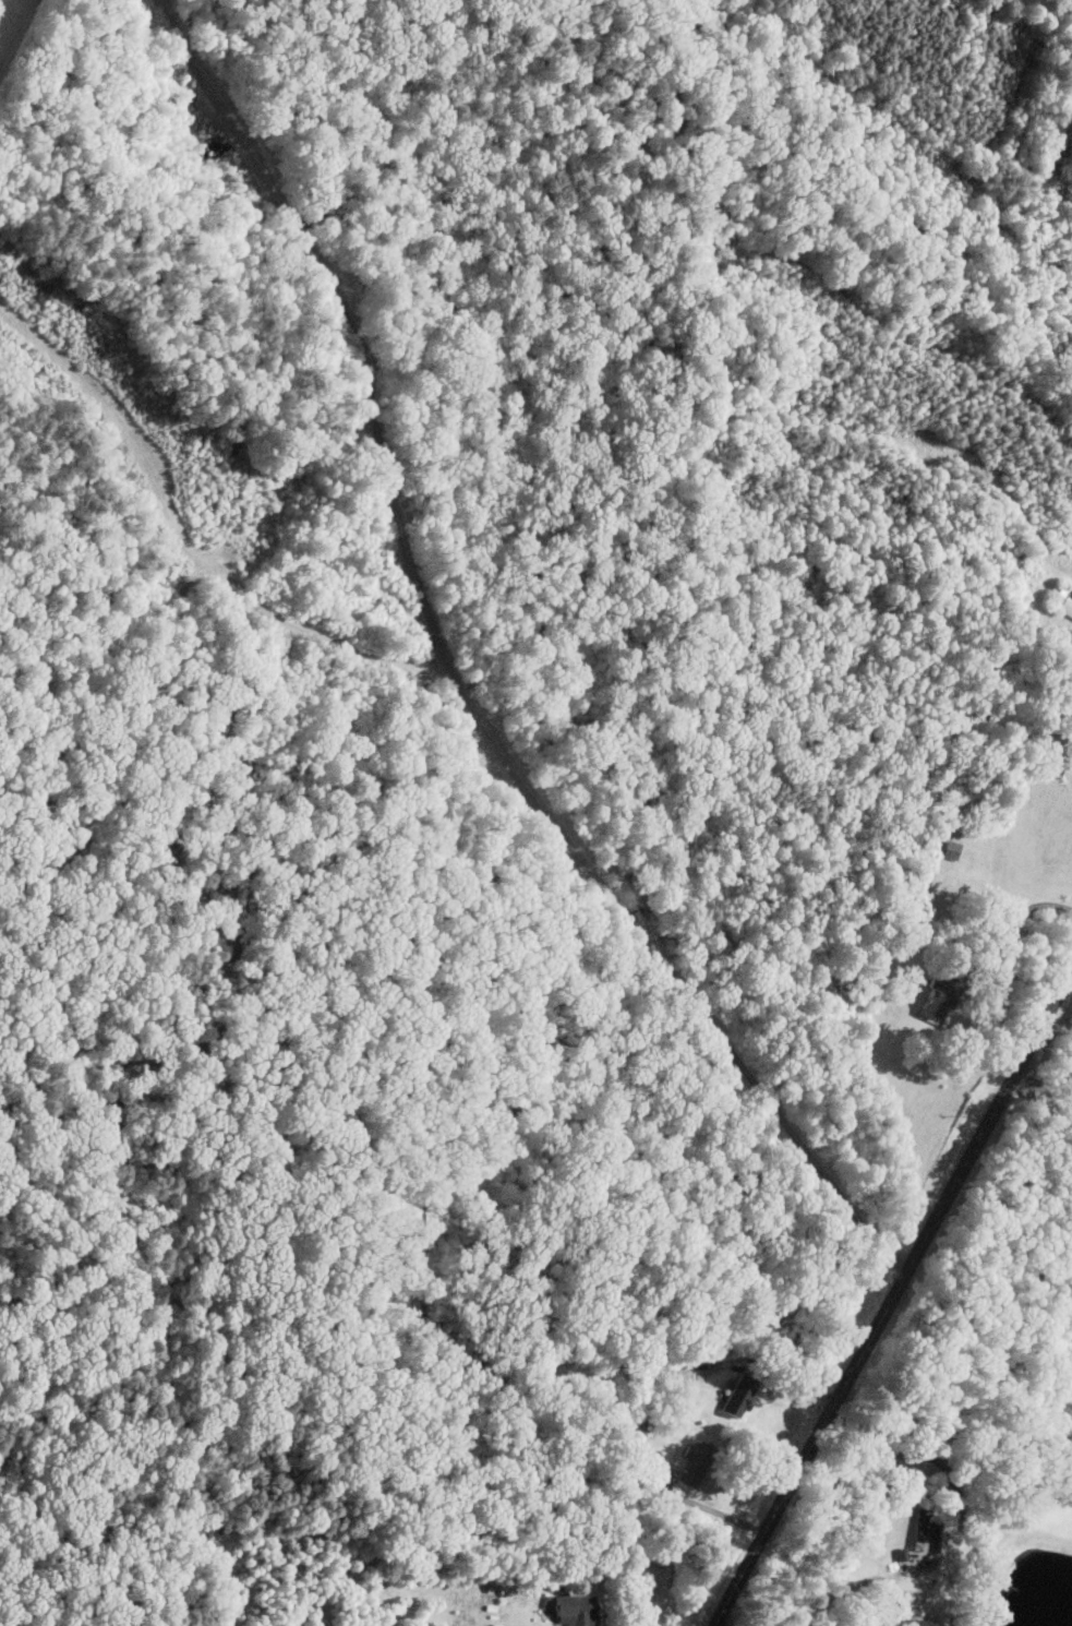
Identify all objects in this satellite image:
road: (1014, 922)
road: (1043, 1087)
road: (893, 1298)
building: (742, 1394)
building: (699, 1462)
road: (886, 1504)
road: (711, 1508)
building: (924, 1529)
dam: (1052, 1562)
building: (577, 1610)

